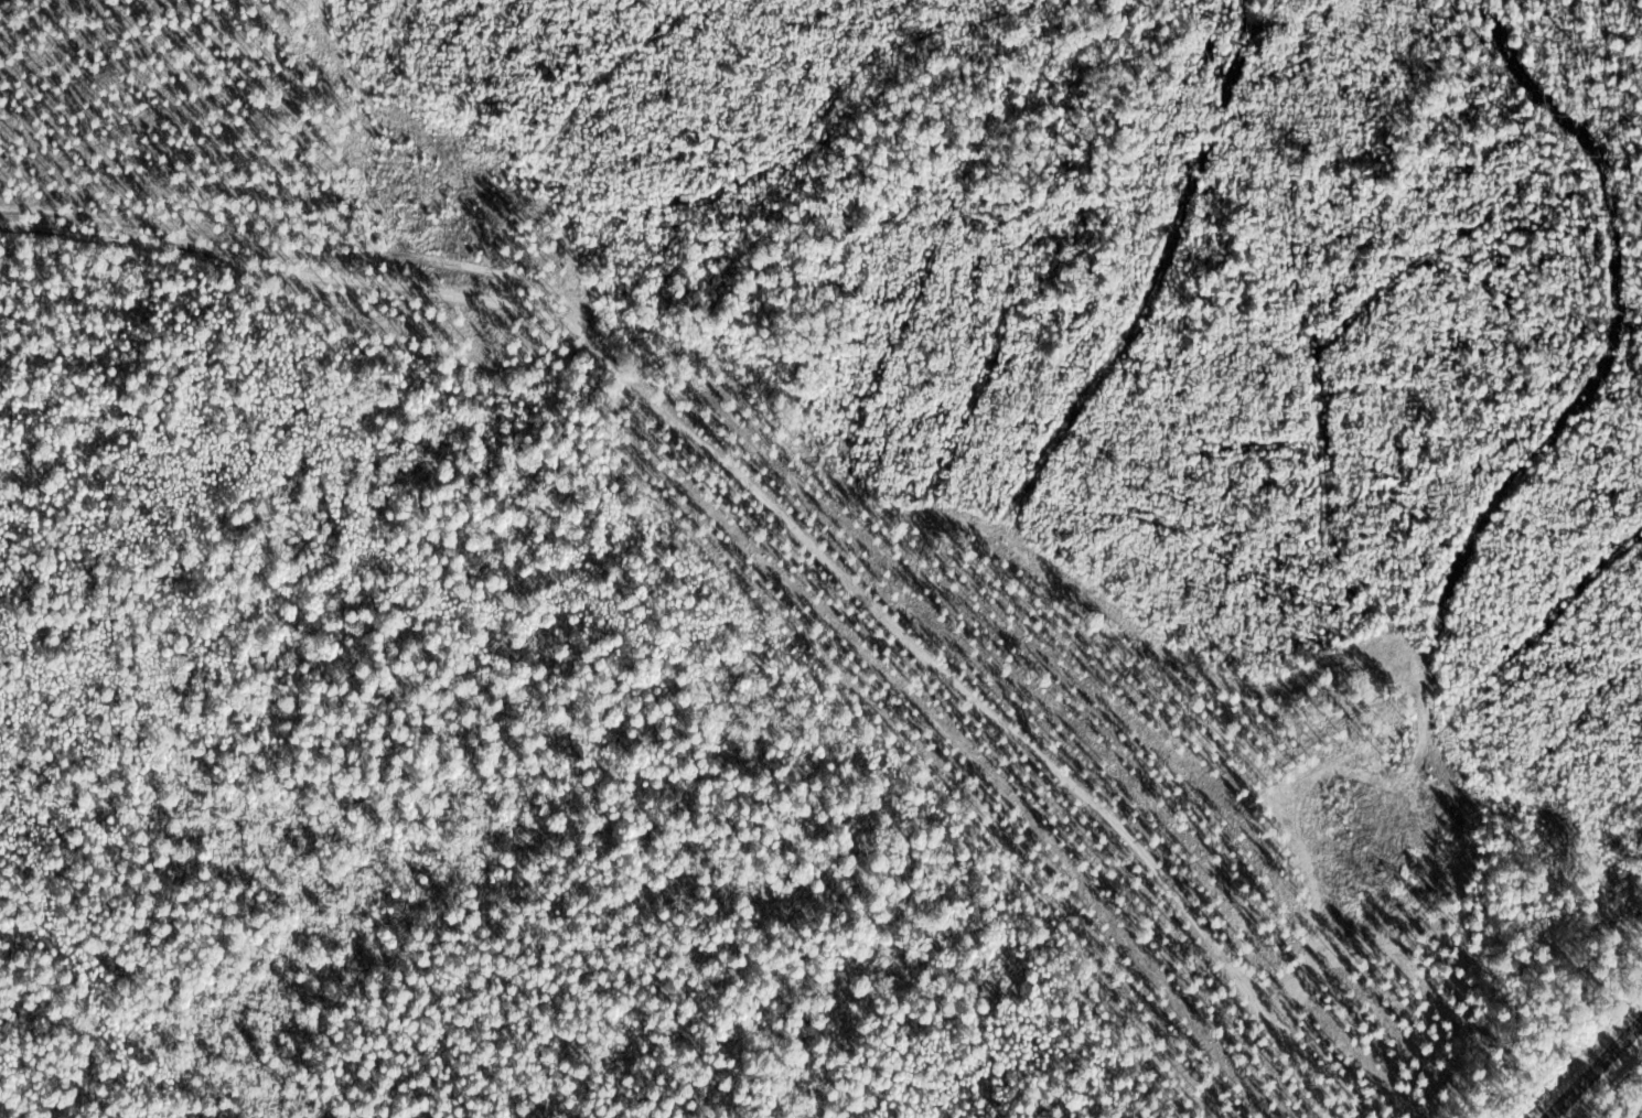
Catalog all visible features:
road: (760, 508)
road: (1597, 1069)

